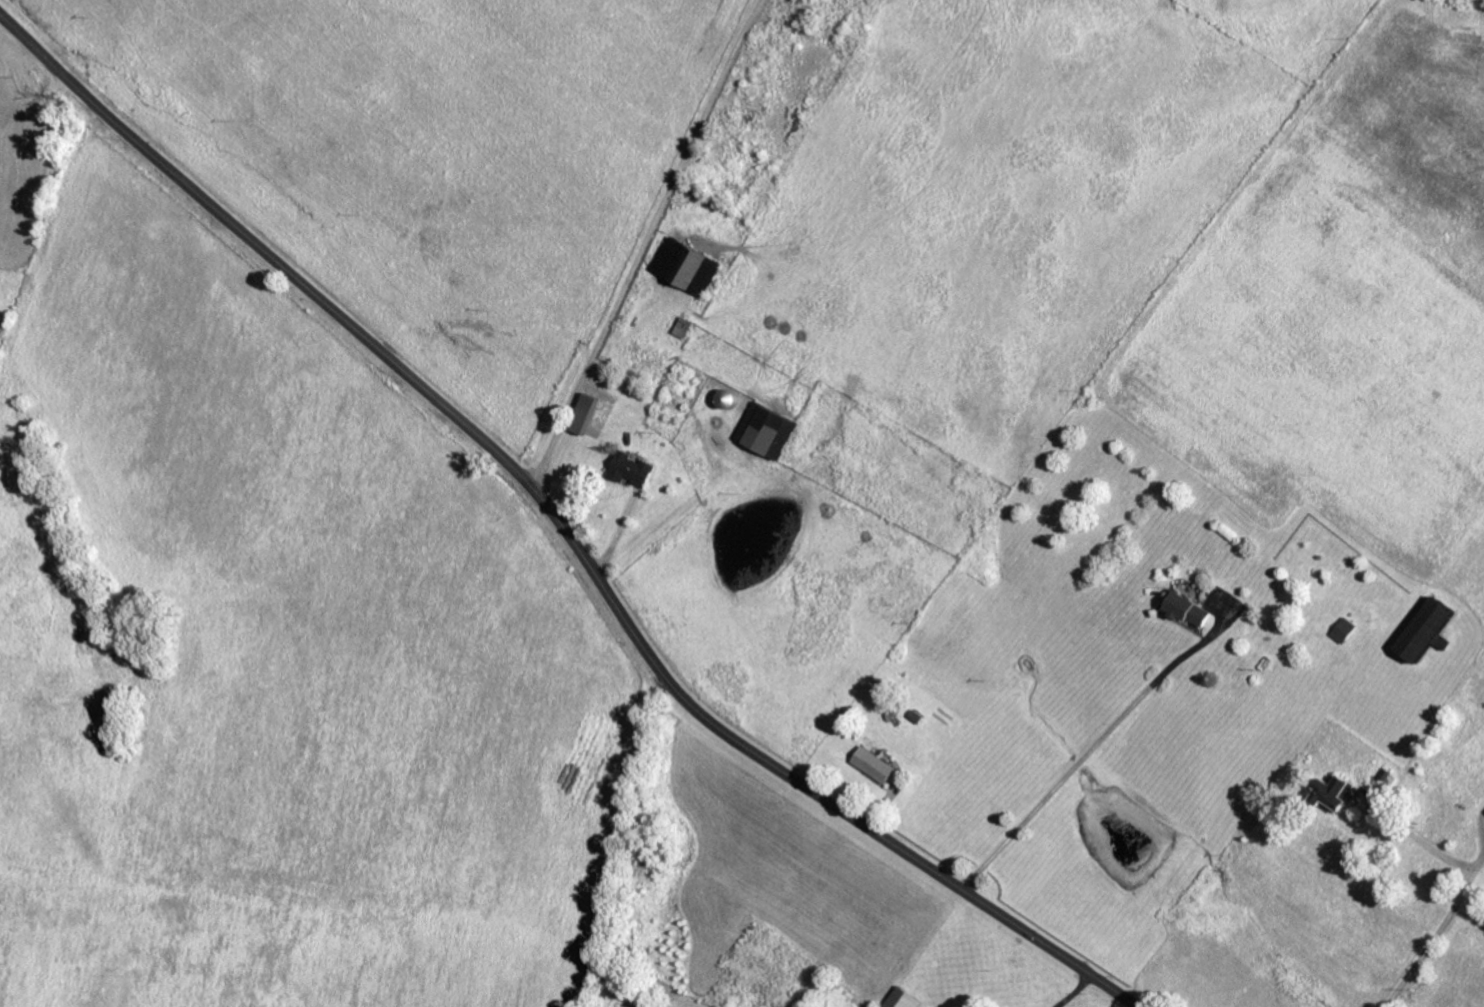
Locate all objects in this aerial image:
road: (633, 239)
road: (53, 274)
building: (627, 467)
road: (561, 527)
building: (1183, 607)
building: (1422, 628)
road: (1090, 744)
building: (870, 763)
building: (1329, 791)
road: (1457, 895)
building: (898, 998)
building: (1000, 1006)

